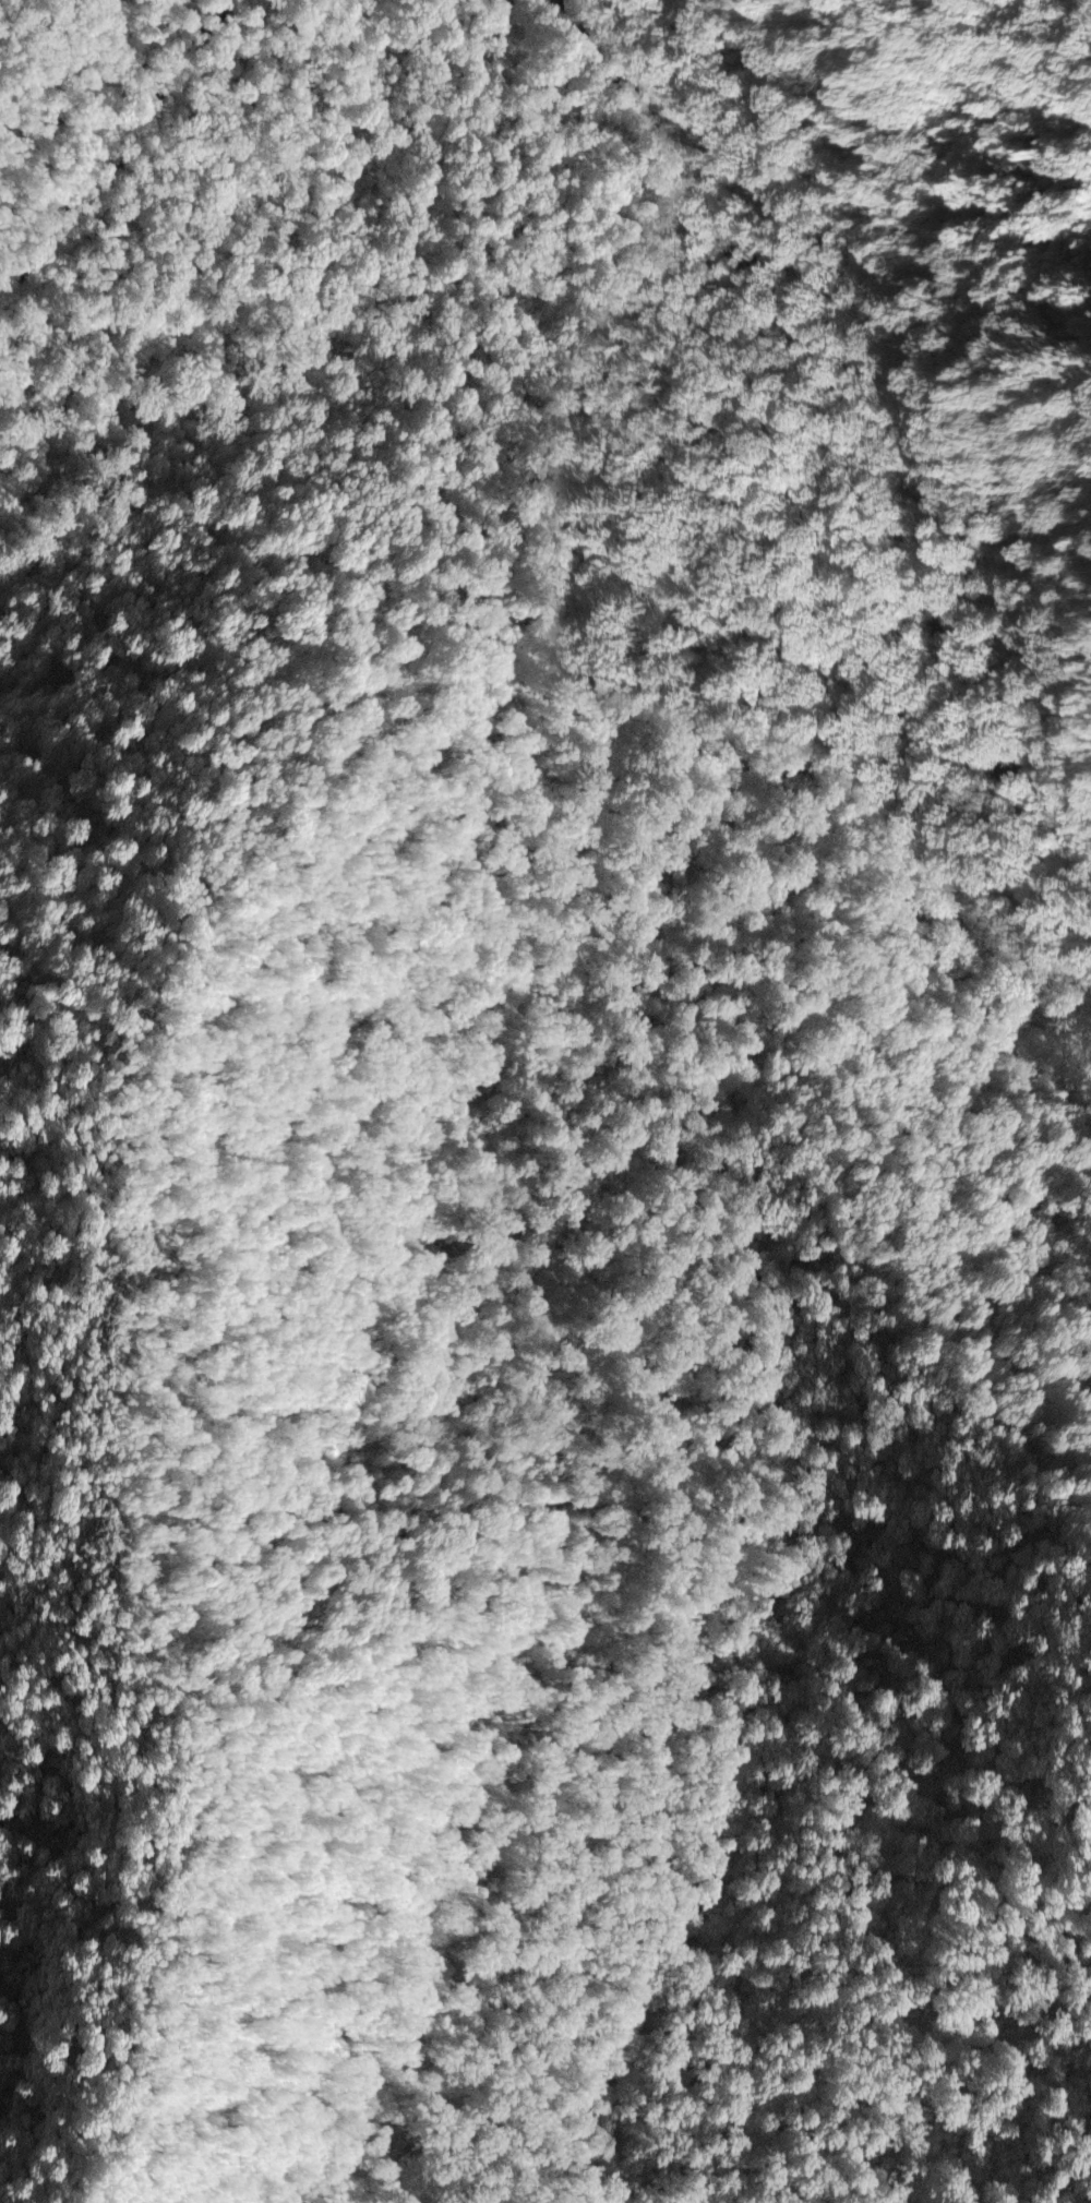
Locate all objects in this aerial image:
river: (527, 5)
river: (538, 5)
river: (693, 203)
road: (160, 249)
road: (909, 404)

